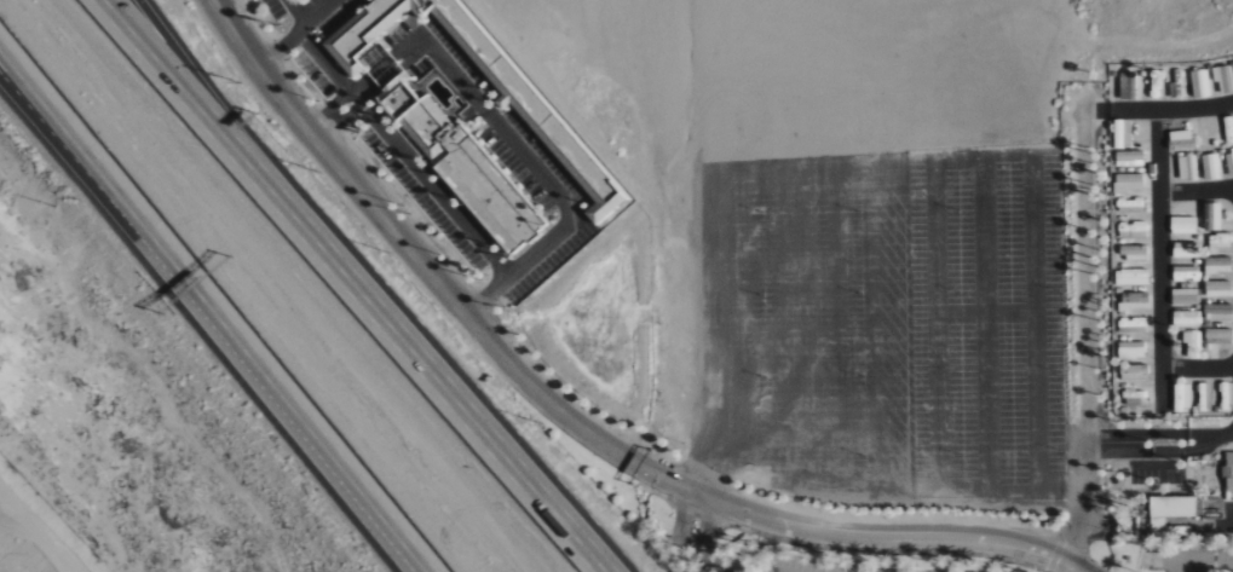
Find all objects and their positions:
parking lot: (282, 8)
road: (296, 35)
parking lot: (306, 50)
building: (388, 71)
building: (1200, 82)
road: (362, 83)
road: (371, 94)
road: (191, 102)
road: (211, 102)
road: (1170, 109)
road: (1096, 111)
building: (419, 120)
road: (497, 127)
road: (984, 129)
building: (1122, 134)
building: (1181, 140)
road: (393, 143)
parking lot: (505, 157)
building: (576, 158)
building: (1129, 158)
road: (69, 160)
building: (1211, 167)
building: (1187, 168)
building: (1129, 183)
building: (491, 192)
road: (1194, 192)
parking lot: (421, 200)
building: (1211, 218)
road: (734, 220)
building: (1182, 226)
road: (785, 231)
building: (1133, 231)
road: (835, 241)
parking lot: (880, 242)
building: (1220, 242)
road: (886, 244)
road: (933, 244)
road: (983, 245)
road: (1033, 245)
building: (1186, 250)
building: (1133, 253)
road: (1158, 260)
road: (520, 266)
building: (1217, 266)
building: (1186, 273)
building: (1131, 277)
building: (1217, 289)
building: (1183, 297)
building: (1134, 302)
road: (214, 308)
building: (1218, 313)
building: (1185, 319)
road: (1084, 324)
building: (1133, 327)
building: (1218, 337)
building: (1192, 343)
building: (1131, 351)
road: (1197, 369)
building: (1137, 370)
road: (443, 388)
building: (1182, 398)
road: (560, 412)
road: (1228, 434)
road: (1136, 435)
road: (1206, 435)
road: (1206, 446)
road: (1136, 452)
road: (718, 466)
road: (812, 472)
parking lot: (1154, 473)
road: (1204, 473)
building: (1228, 473)
road: (939, 490)
road: (1130, 492)
road: (1036, 493)
road: (1129, 508)
building: (1179, 508)
building: (1146, 526)
building: (1159, 527)
road: (1223, 527)
road: (679, 533)
road: (704, 538)
road: (855, 551)
parking lot: (1185, 557)
road: (1195, 559)
parking lot: (824, 566)
road: (1076, 567)

